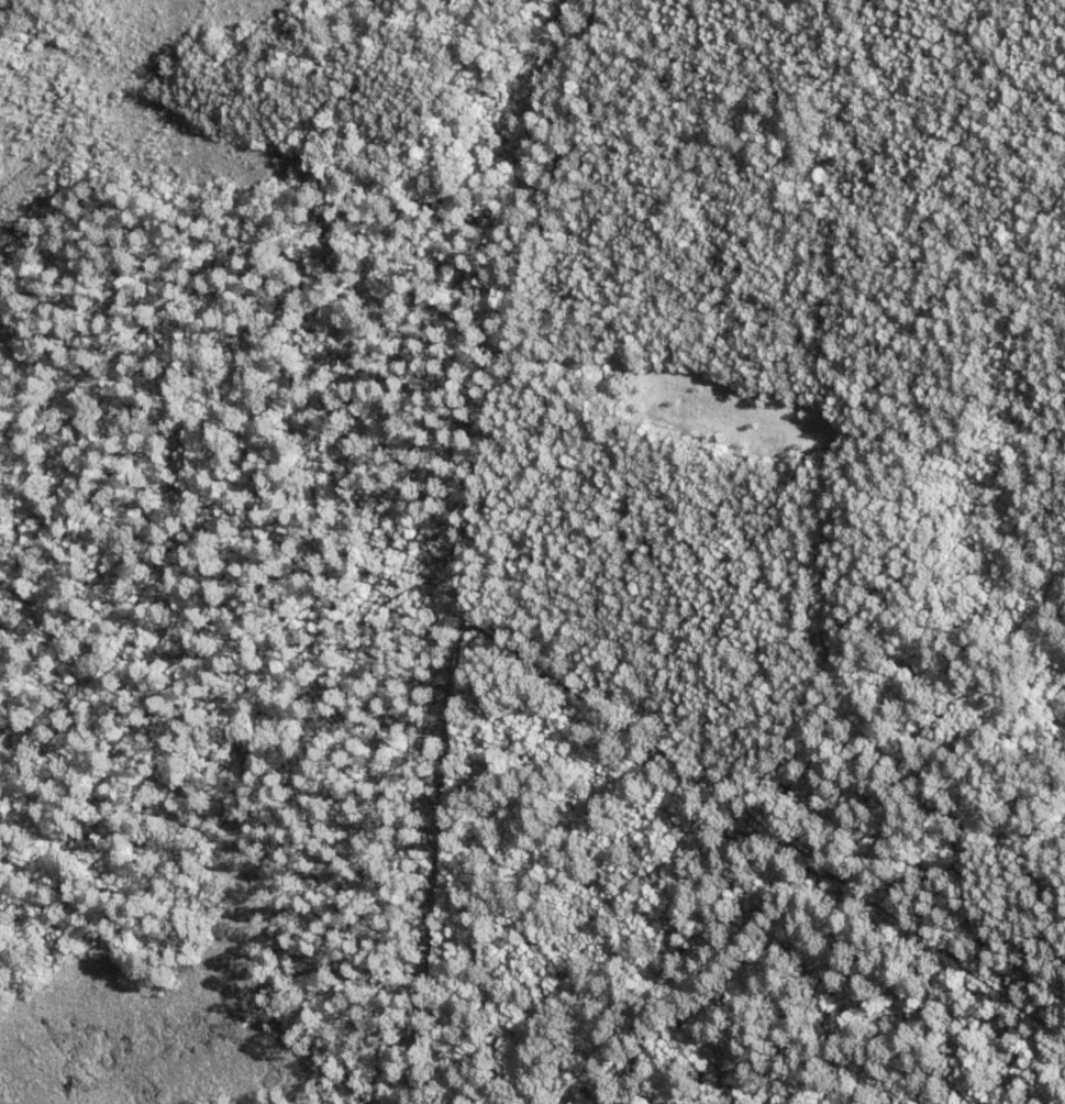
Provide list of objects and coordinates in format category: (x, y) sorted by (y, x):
road: (461, 547)
road: (758, 868)

